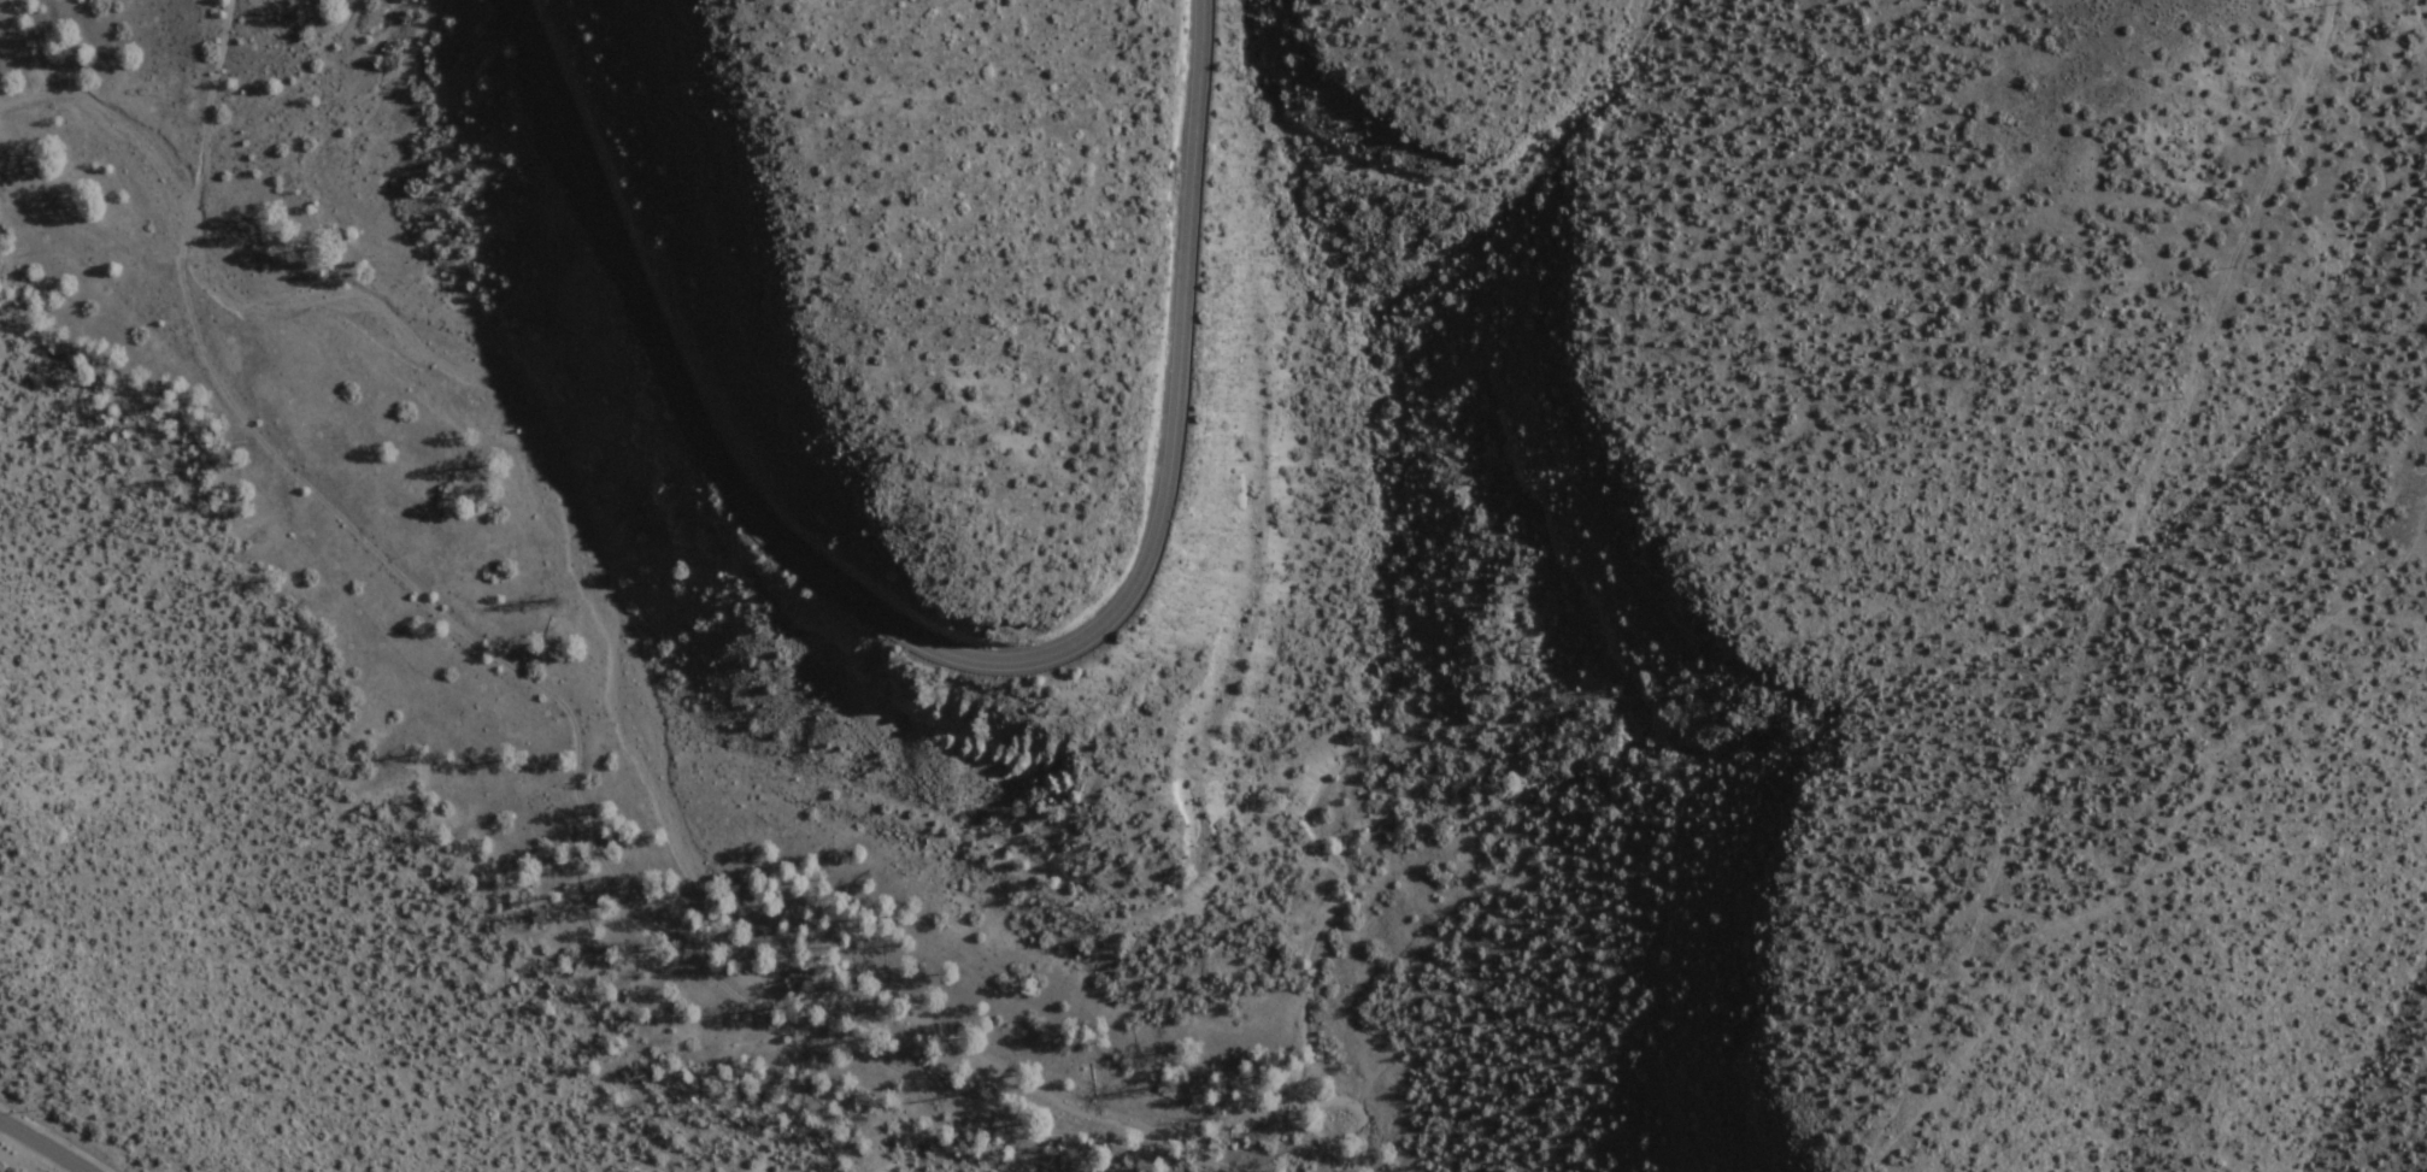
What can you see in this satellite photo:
road: (2420, 20)
road: (2423, 48)
road: (944, 654)
road: (576, 699)
road: (2152, 849)
road: (47, 1142)
road: (1244, 1162)

